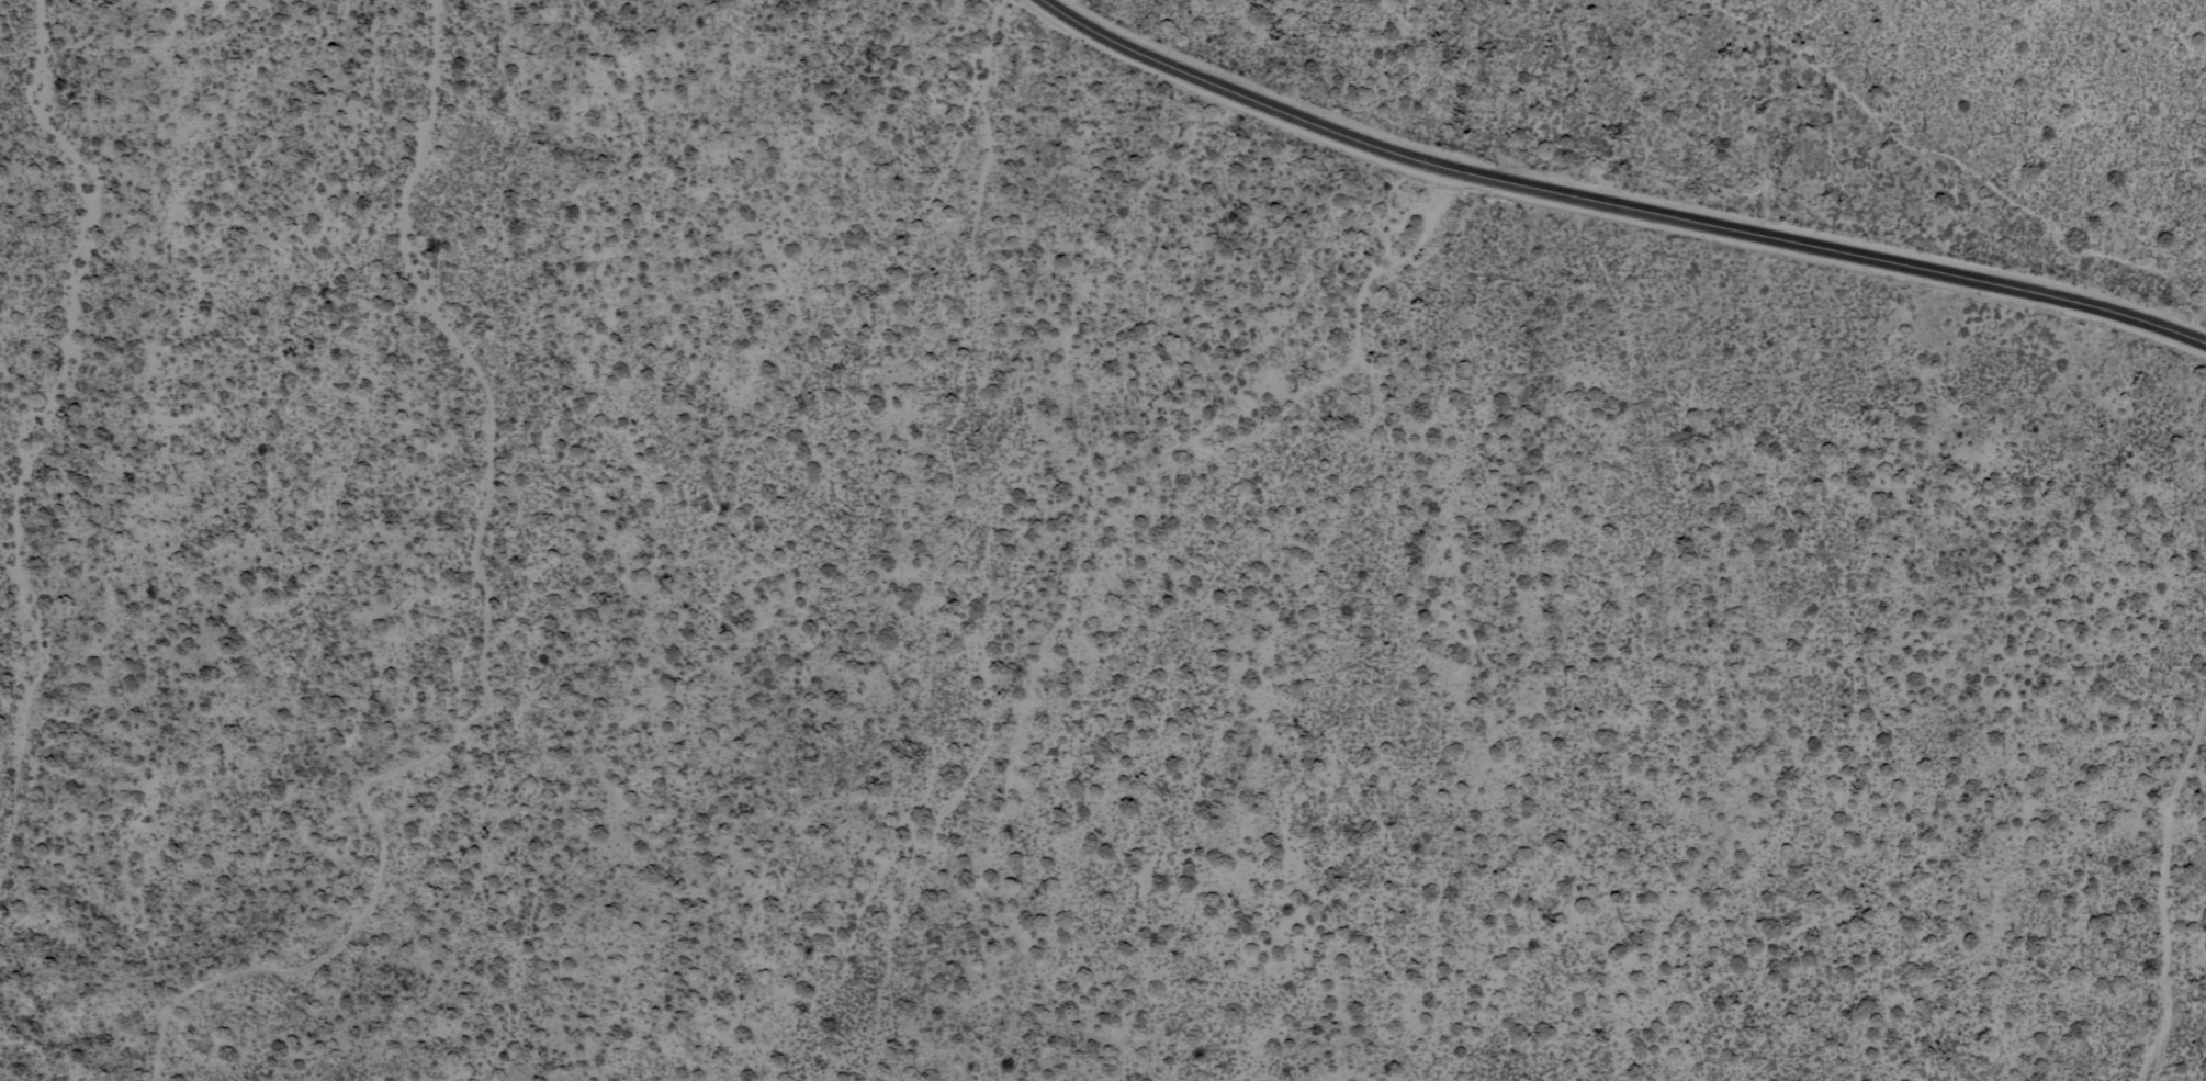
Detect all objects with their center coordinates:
road: (1612, 206)

